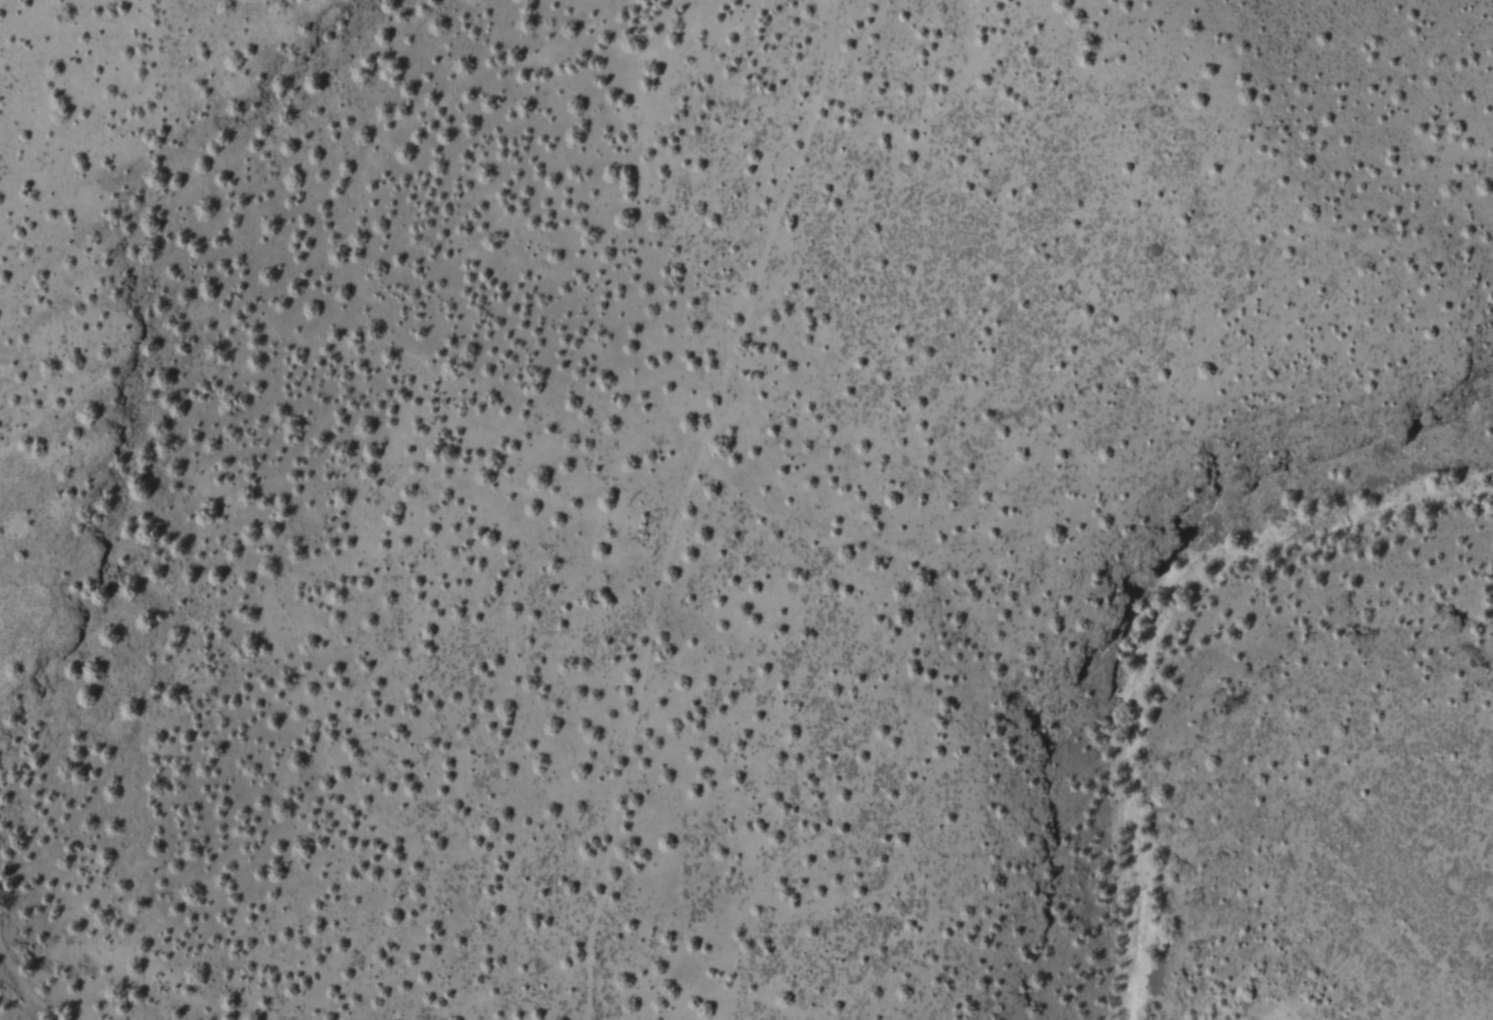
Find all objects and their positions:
crop: (1398, 919)

